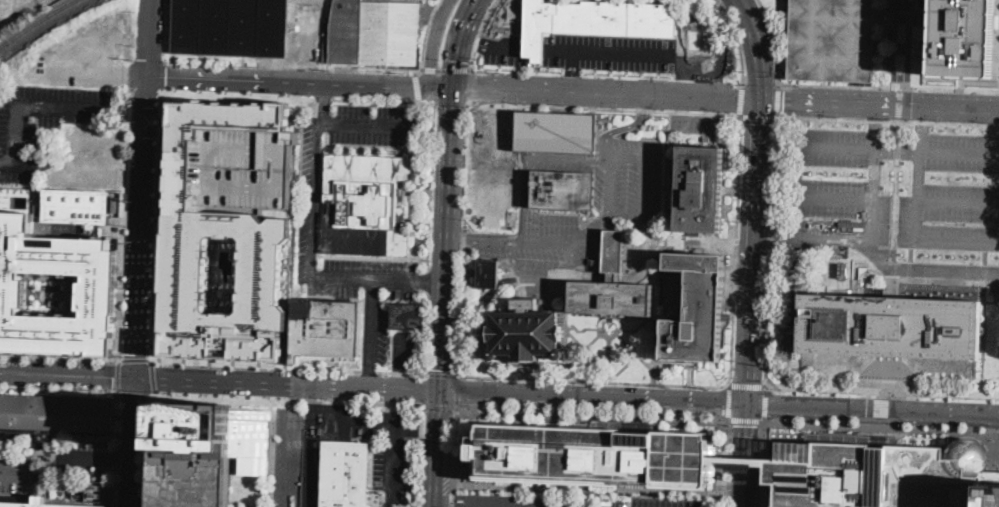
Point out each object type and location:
road: (916, 15)
building: (594, 20)
road: (997, 21)
railway: (36, 22)
building: (235, 26)
road: (481, 32)
building: (375, 33)
road: (149, 37)
road: (426, 37)
building: (965, 39)
road: (472, 40)
parking lot: (723, 40)
road: (737, 40)
building: (833, 40)
road: (773, 41)
road: (433, 42)
road: (458, 42)
building: (700, 43)
road: (894, 43)
road: (757, 48)
road: (503, 49)
road: (535, 50)
parking lot: (506, 51)
road: (720, 52)
parking lot: (610, 53)
road: (619, 53)
road: (424, 68)
road: (431, 68)
road: (457, 68)
road: (439, 69)
road: (573, 72)
road: (301, 81)
road: (961, 84)
road: (417, 85)
road: (470, 85)
road: (707, 85)
road: (760, 86)
road: (888, 86)
traffic signals: (453, 89)
road: (297, 96)
road: (726, 99)
road: (420, 100)
road: (740, 100)
traffic signals: (759, 101)
road: (779, 101)
road: (451, 102)
road: (899, 104)
road: (70, 105)
road: (683, 106)
road: (711, 107)
road: (134, 109)
road: (605, 109)
road: (711, 117)
road: (760, 117)
road: (678, 118)
road: (702, 118)
building: (488, 120)
road: (888, 120)
parking lot: (46, 121)
road: (873, 122)
road: (920, 122)
parking lot: (702, 125)
road: (627, 128)
road: (16, 132)
building: (557, 132)
road: (833, 147)
road: (959, 153)
parking lot: (89, 157)
road: (571, 159)
road: (7, 161)
building: (243, 167)
parking garage: (243, 167)
road: (168, 179)
road: (668, 179)
building: (485, 184)
road: (656, 188)
road: (670, 189)
building: (699, 189)
road: (871, 189)
road: (916, 189)
parking lot: (946, 189)
building: (563, 190)
road: (730, 192)
road: (524, 196)
road: (831, 199)
road: (957, 202)
building: (367, 204)
parking lot: (854, 204)
building: (75, 206)
road: (674, 206)
road: (726, 212)
parking lot: (587, 217)
road: (643, 221)
road: (142, 227)
road: (157, 227)
building: (250, 228)
road: (122, 234)
road: (770, 236)
road: (429, 238)
road: (463, 238)
road: (828, 238)
road: (446, 240)
road: (459, 240)
road: (497, 241)
road: (956, 242)
road: (736, 250)
building: (613, 251)
road: (753, 251)
road: (772, 251)
road: (512, 256)
road: (128, 257)
road: (573, 260)
building: (842, 271)
road: (925, 271)
building: (488, 272)
road: (659, 278)
building: (856, 282)
building: (54, 290)
parking garage: (54, 290)
building: (612, 299)
road: (492, 300)
building: (694, 306)
building: (407, 314)
helipad: (835, 324)
road: (654, 326)
building: (891, 327)
road: (640, 328)
building: (325, 330)
road: (583, 331)
road: (565, 334)
building: (525, 335)
road: (609, 336)
road: (567, 340)
road: (576, 341)
road: (578, 356)
road: (59, 358)
road: (634, 358)
road: (133, 359)
road: (609, 359)
road: (647, 364)
road: (286, 365)
road: (525, 371)
road: (651, 373)
road: (441, 374)
road: (690, 374)
road: (67, 376)
road: (118, 377)
road: (154, 377)
road: (594, 380)
road: (746, 384)
road: (287, 385)
road: (423, 389)
road: (458, 389)
road: (882, 390)
road: (59, 391)
traffic signals: (440, 391)
road: (133, 394)
road: (883, 394)
road: (594, 397)
road: (285, 398)
road: (728, 400)
traffic signals: (750, 403)
road: (765, 403)
road: (341, 404)
road: (435, 405)
road: (883, 407)
road: (874, 409)
road: (326, 411)
road: (588, 412)
building: (54, 417)
road: (746, 419)
road: (372, 422)
road: (882, 422)
road: (421, 425)
road: (881, 425)
road: (133, 443)
road: (309, 446)
parking lot: (379, 447)
road: (292, 448)
road: (437, 448)
road: (116, 450)
road: (148, 451)
building: (207, 451)
parking lot: (288, 454)
road: (747, 454)
parking garage: (192, 455)
road: (419, 455)
road: (455, 455)
building: (593, 455)
parking lot: (82, 458)
road: (96, 458)
building: (745, 462)
road: (726, 463)
road: (762, 463)
road: (393, 464)
parking lot: (16, 473)
road: (13, 474)
building: (345, 474)
building: (875, 476)
building: (986, 476)
building: (77, 484)
building: (990, 495)
building: (79, 496)
parking lot: (532, 500)
parking lot: (670, 502)
building: (38, 503)

